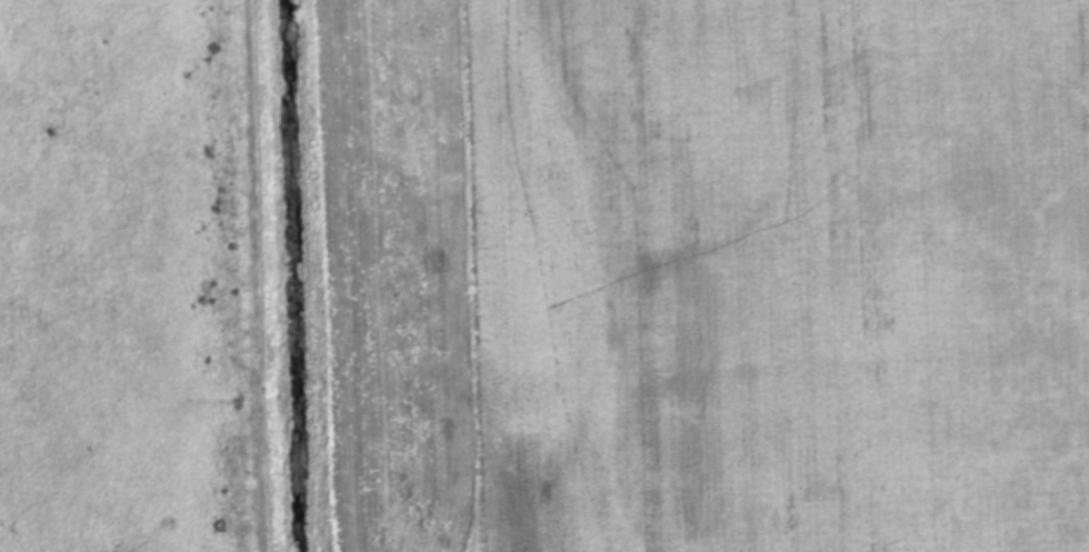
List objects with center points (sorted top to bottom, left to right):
road: (251, 275)

